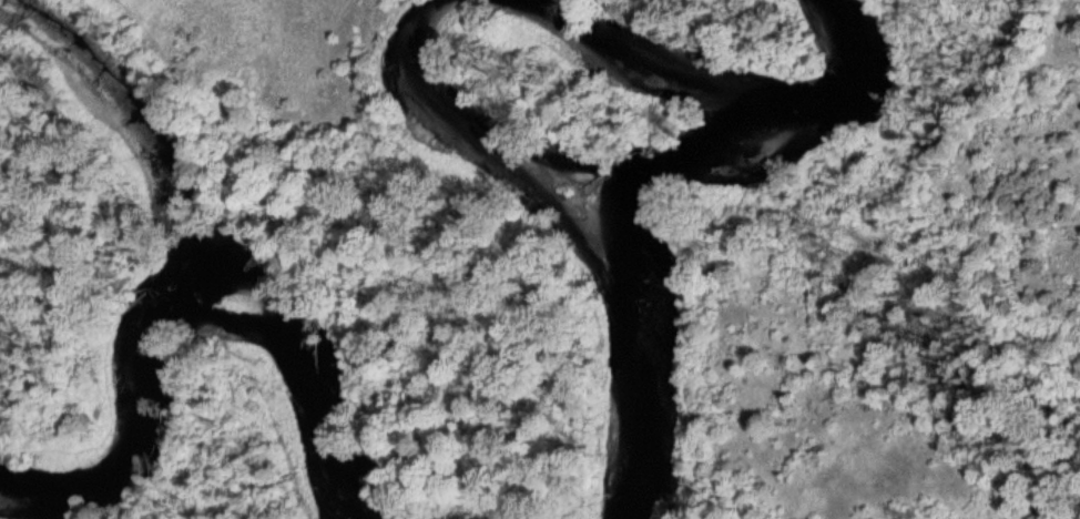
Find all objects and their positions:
river: (740, 106)
road: (267, 152)
river: (595, 197)
park: (540, 259)
river: (197, 295)

